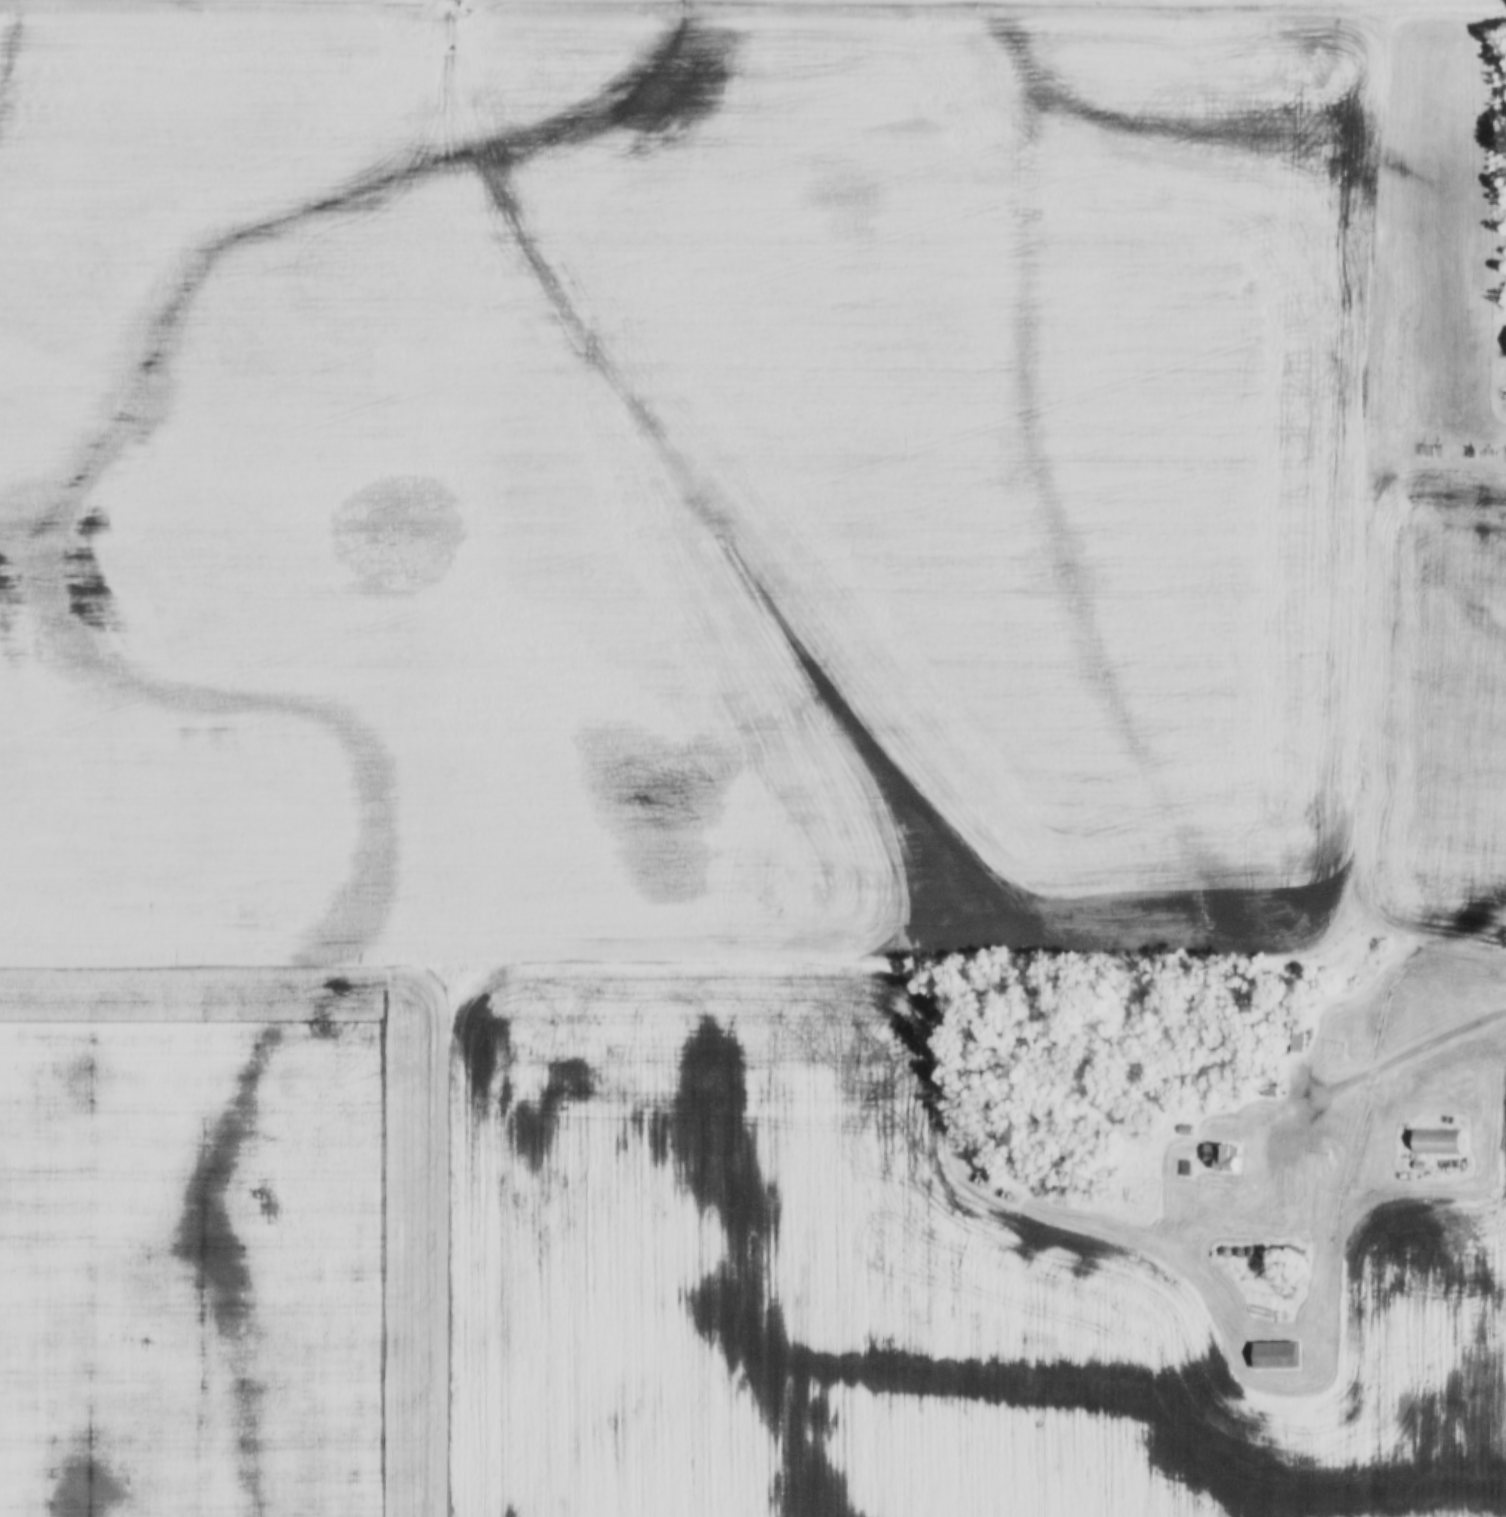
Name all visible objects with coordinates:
building: (1294, 1037)
road: (1410, 1056)
building: (1269, 1089)
building: (1183, 1128)
building: (1434, 1140)
building: (1218, 1156)
building: (1184, 1166)
building: (1272, 1354)

